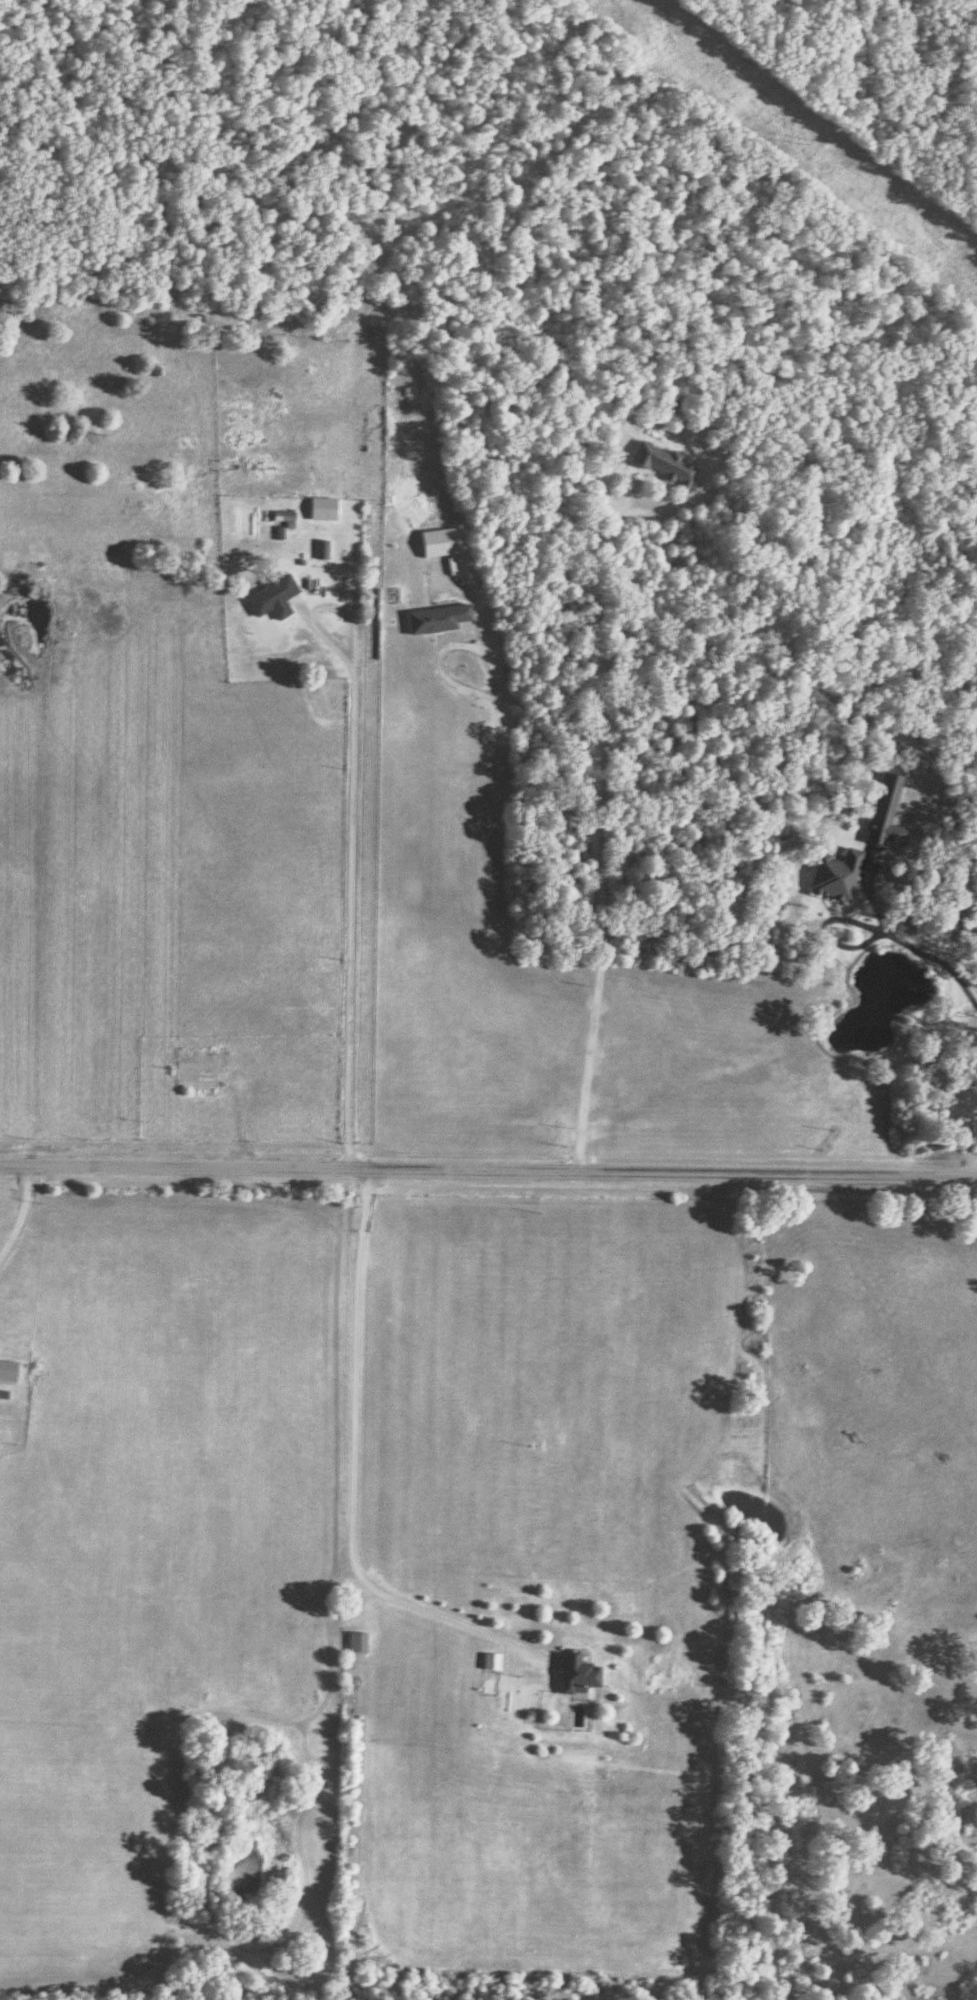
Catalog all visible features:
building: (671, 468)
building: (282, 518)
road: (593, 575)
building: (272, 600)
road: (332, 609)
road: (454, 683)
building: (884, 831)
road: (911, 847)
building: (835, 876)
road: (349, 919)
road: (824, 929)
road: (936, 959)
road: (600, 961)
building: (196, 1069)
road: (488, 1171)
road: (25, 1218)
building: (8, 1372)
road: (352, 1471)
building: (357, 1643)
building: (577, 1676)

